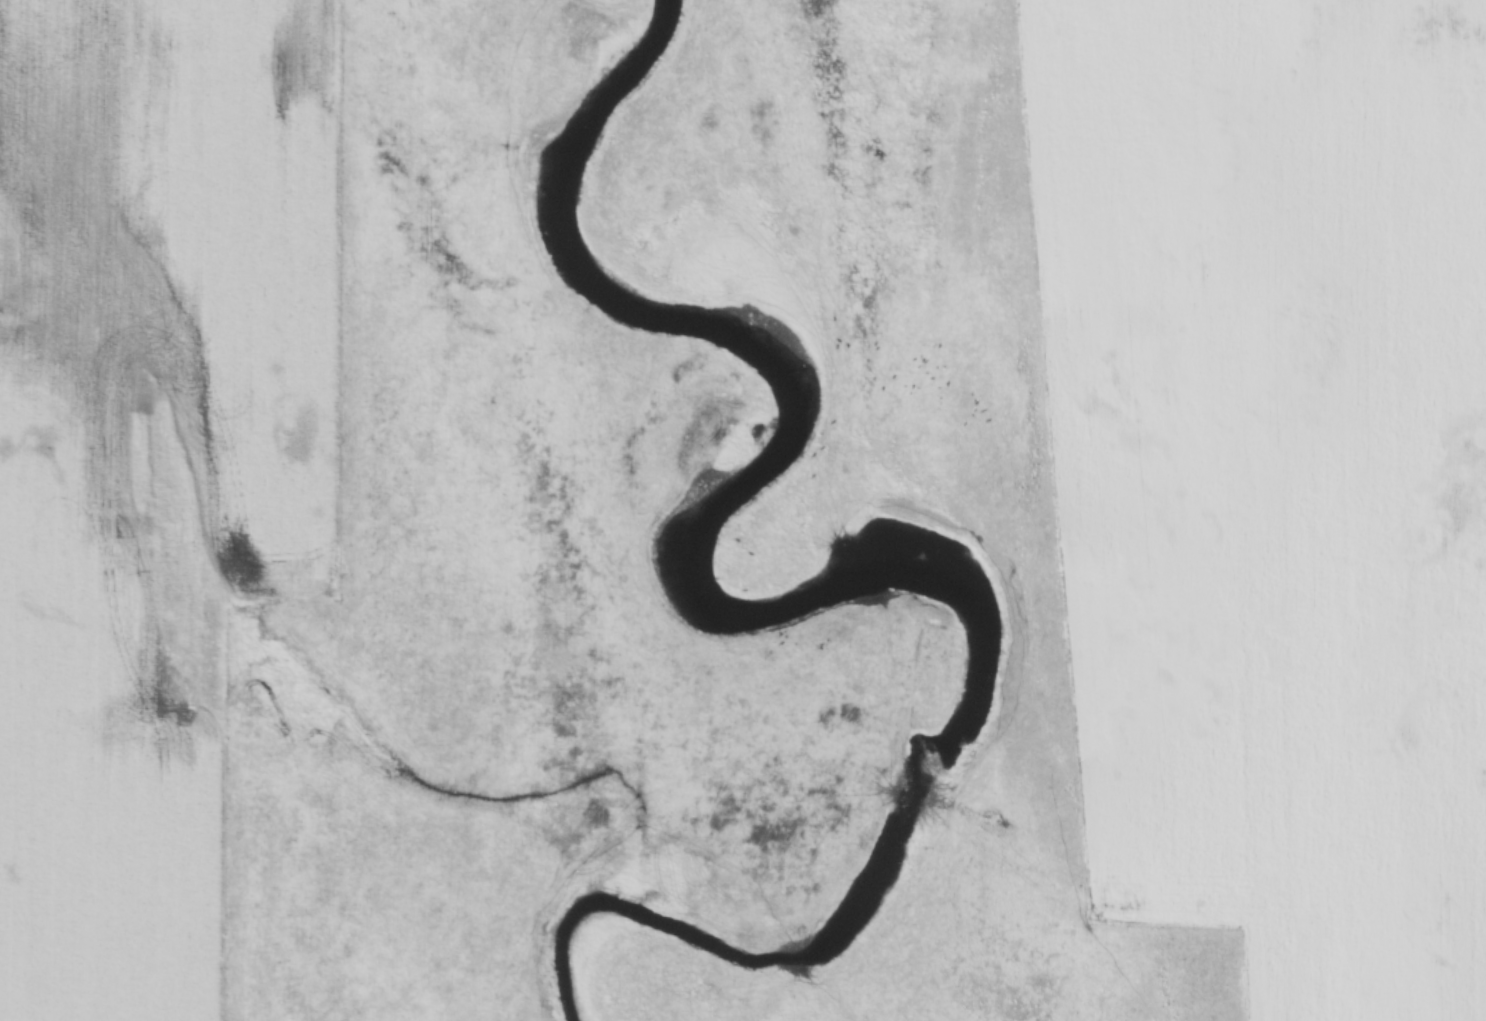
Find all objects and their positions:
crop: (1276, 479)

